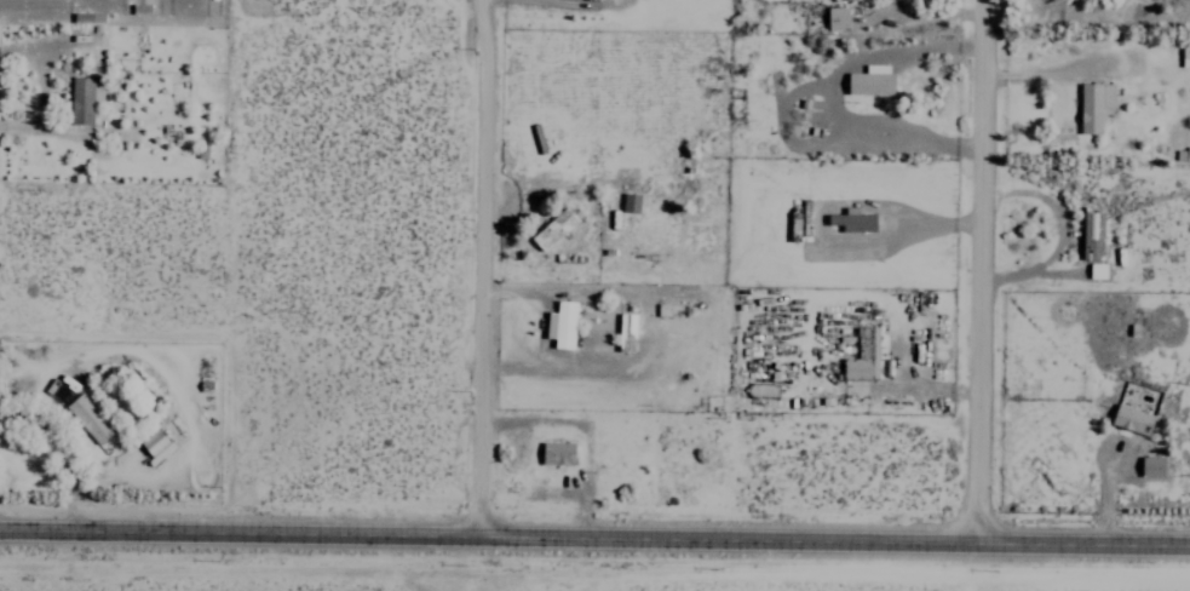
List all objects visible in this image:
building: (835, 17)
building: (870, 80)
building: (82, 101)
building: (1093, 105)
building: (1182, 154)
building: (630, 201)
building: (850, 218)
building: (553, 226)
building: (862, 228)
building: (1092, 231)
road: (483, 265)
building: (1097, 270)
road: (976, 272)
building: (560, 325)
building: (863, 355)
building: (87, 418)
building: (1131, 419)
building: (154, 443)
building: (556, 452)
building: (1151, 465)
road: (594, 535)

